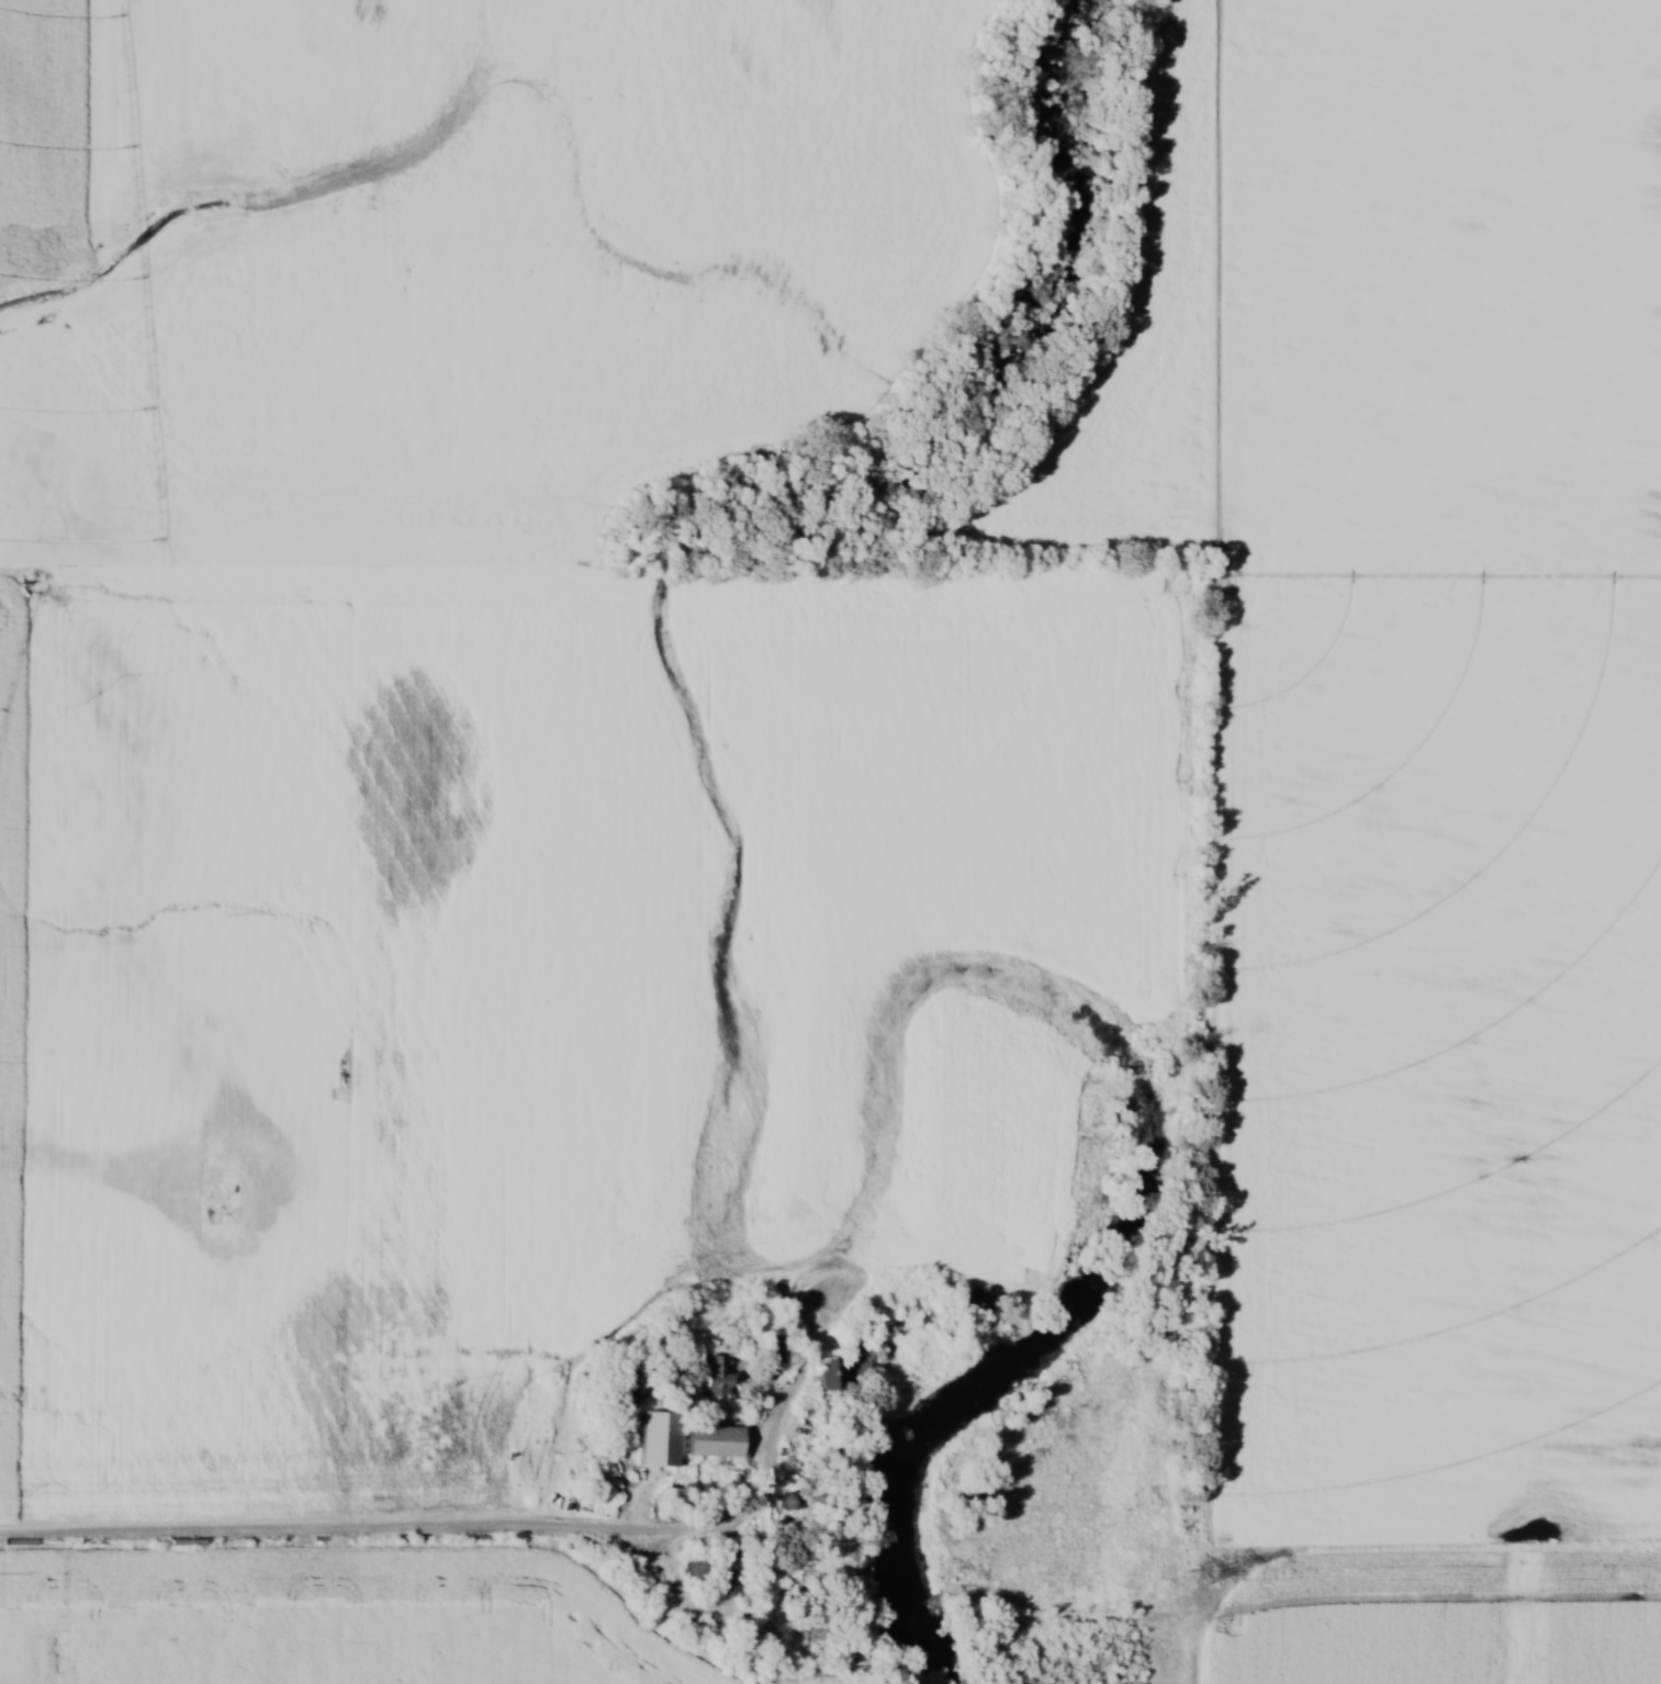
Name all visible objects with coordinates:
building: (779, 1221)
building: (907, 1317)
building: (771, 1348)
building: (826, 1373)
building: (714, 1376)
road: (441, 1526)
building: (265, 1543)
building: (717, 1572)
power tower: (1202, 1573)

